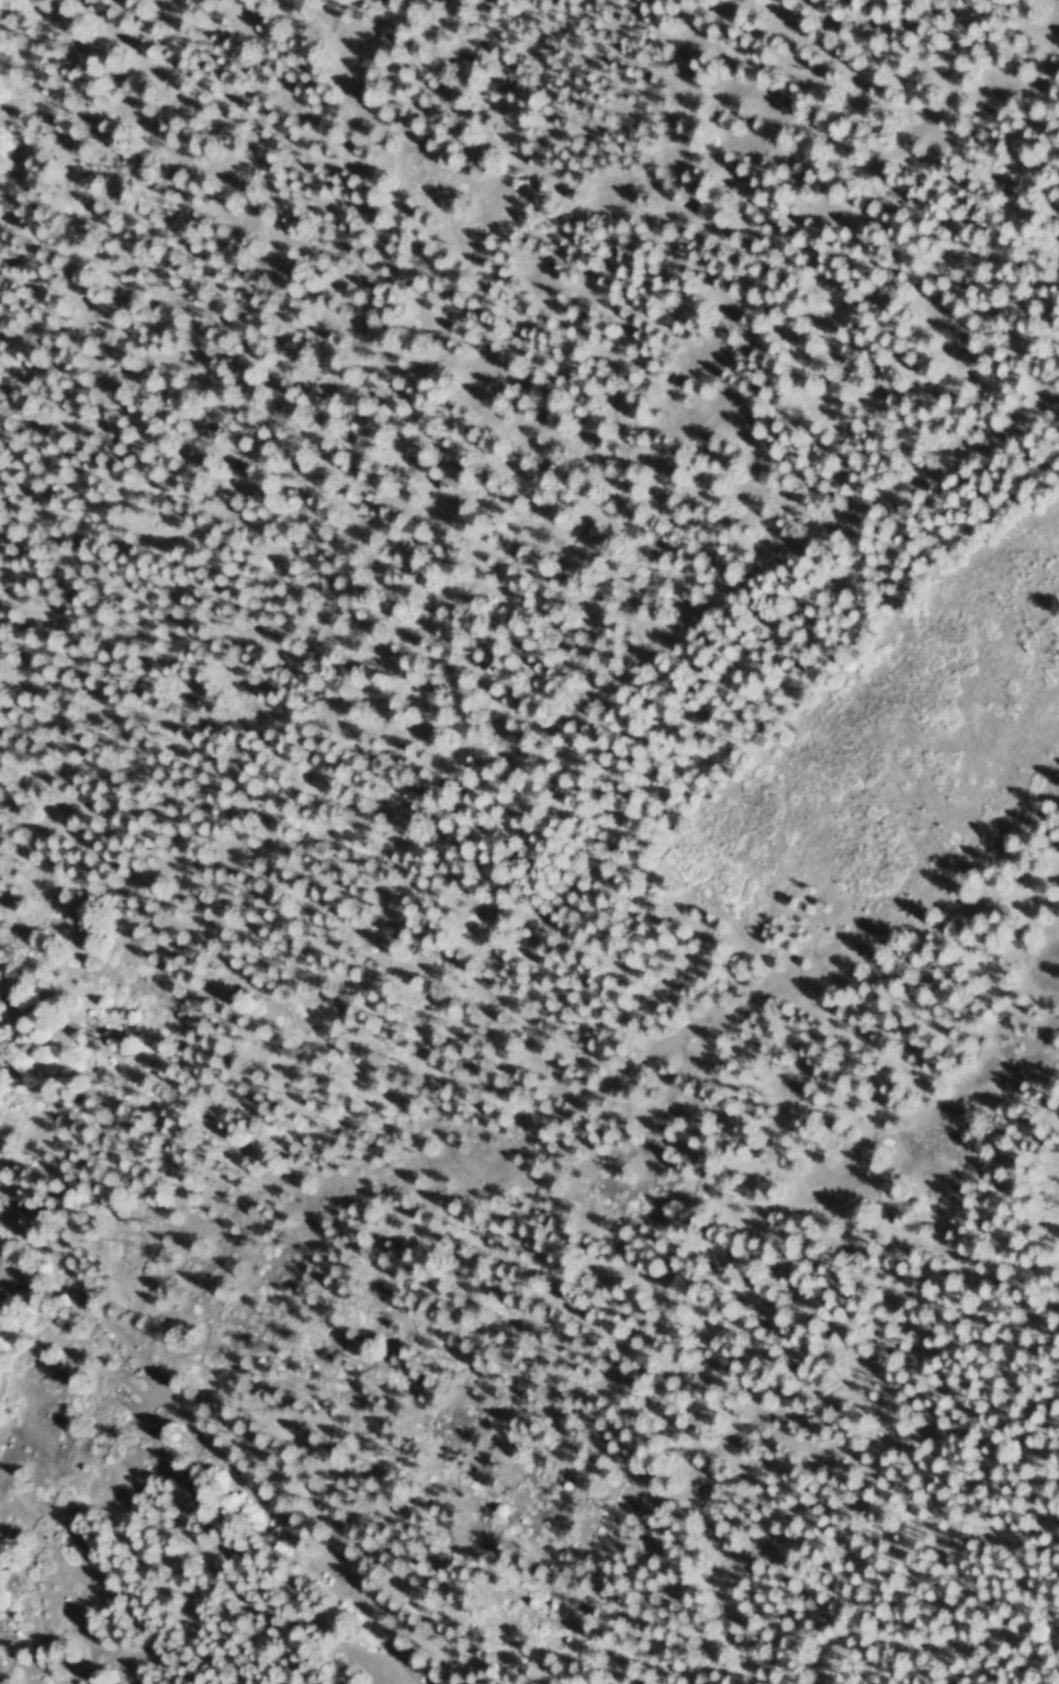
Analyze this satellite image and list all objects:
road: (47, 1290)
road: (218, 1443)

